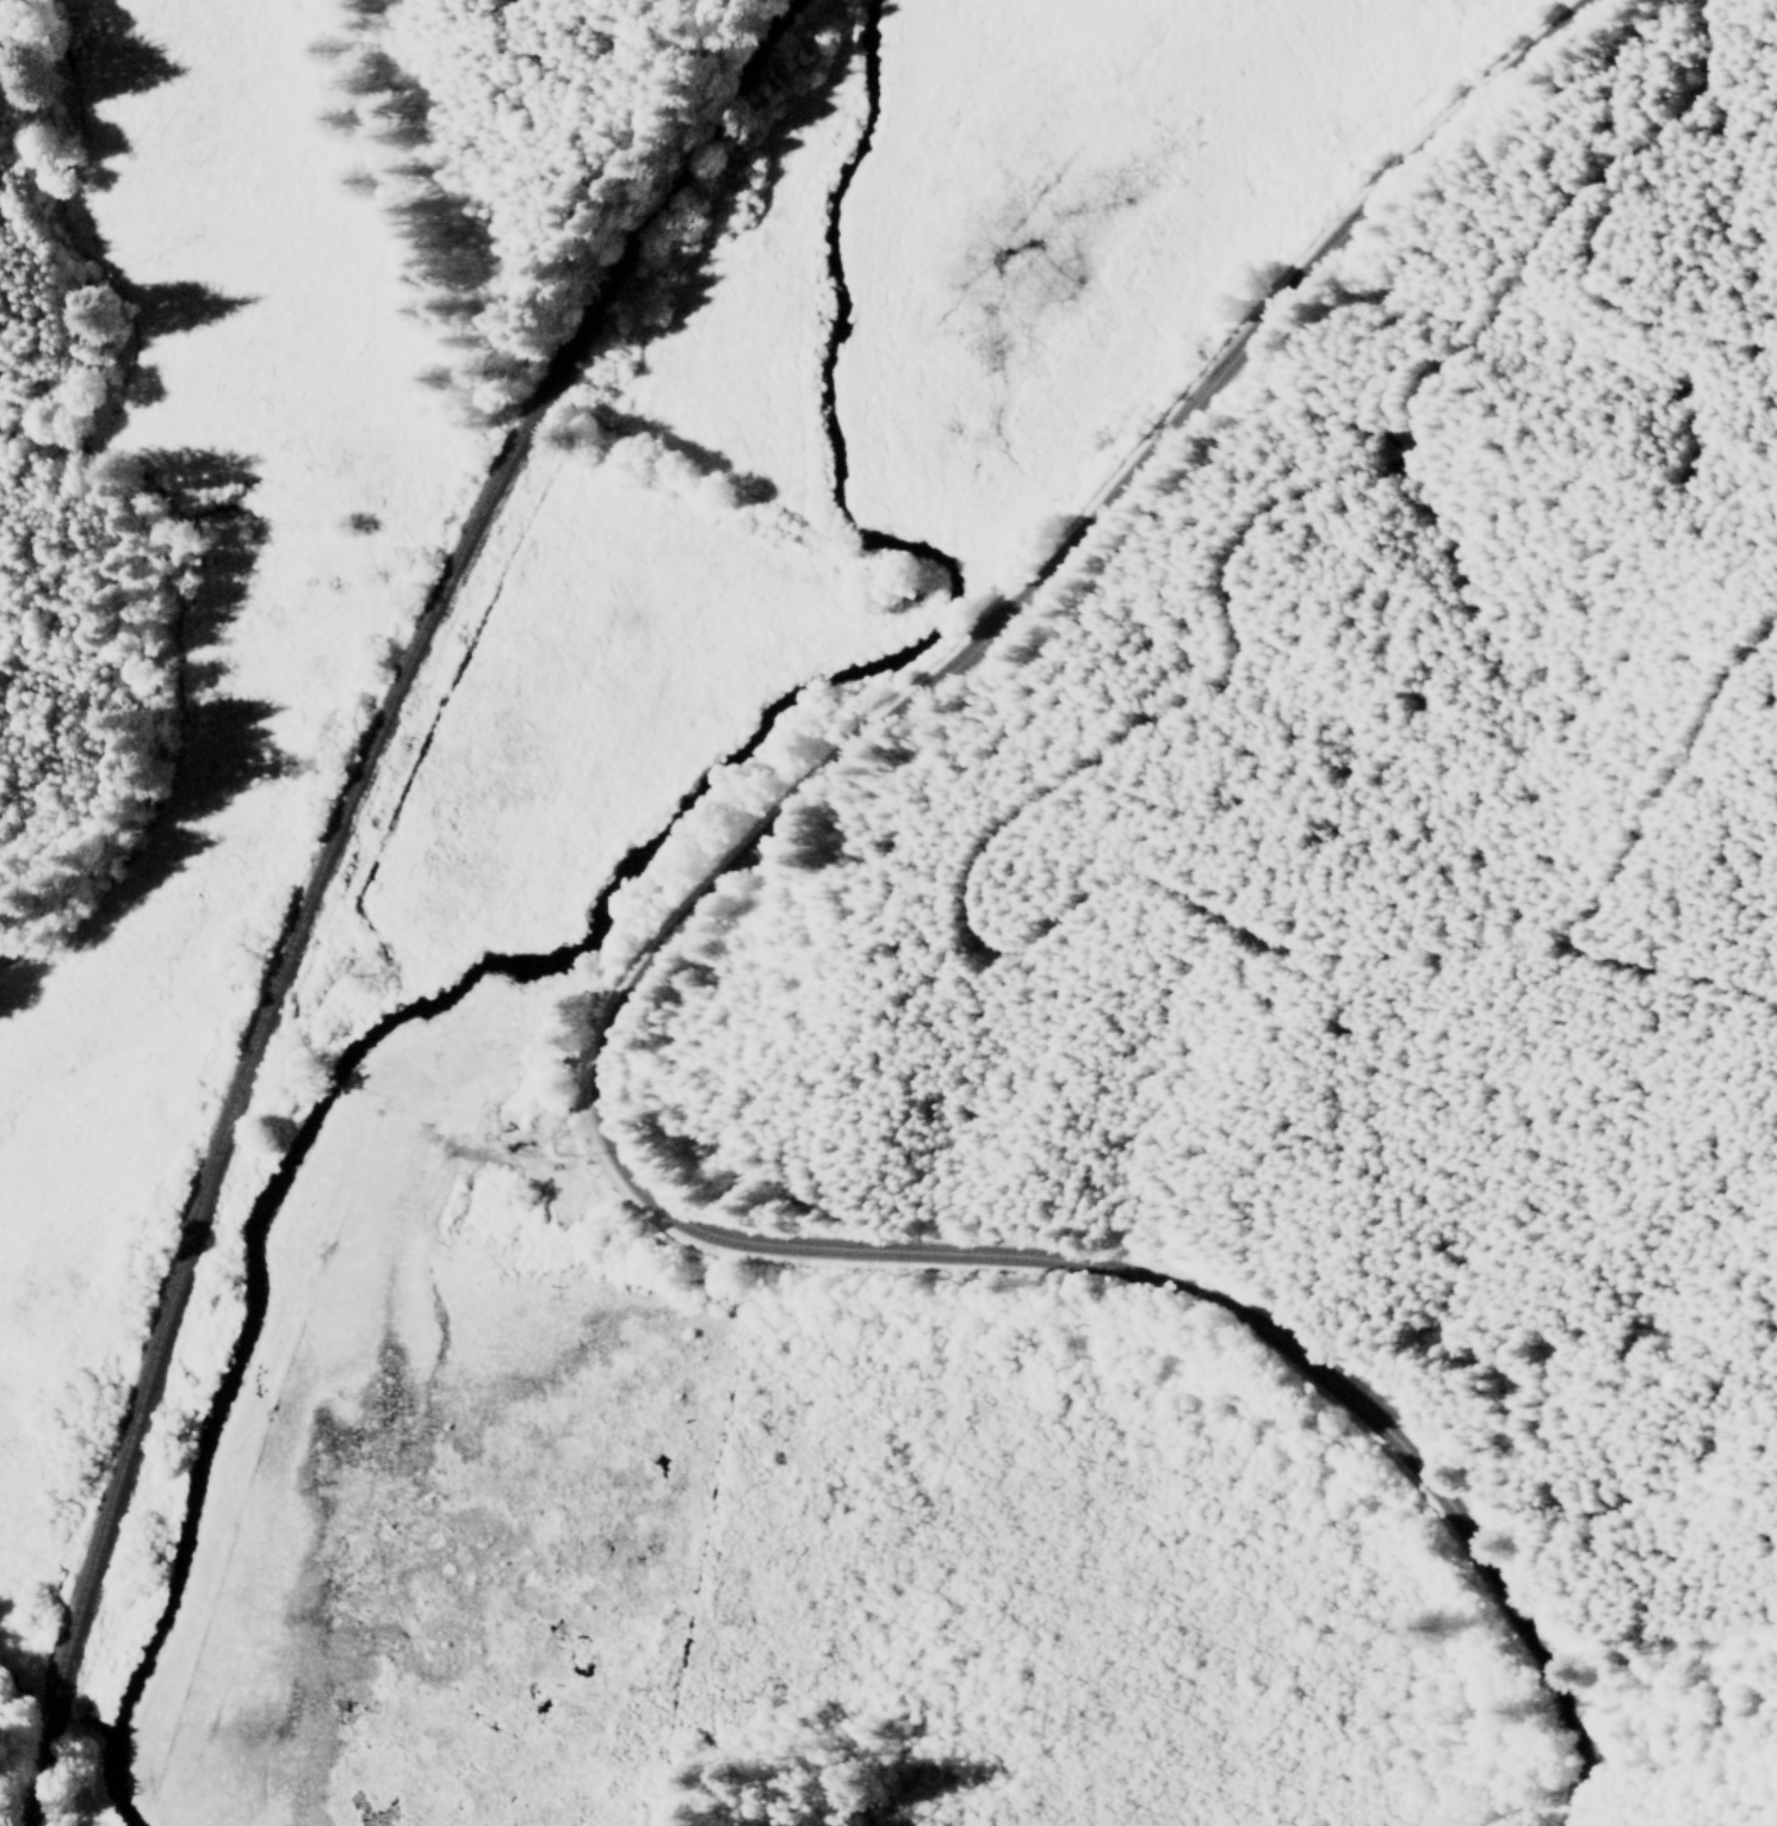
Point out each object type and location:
road: (528, 395)
railway: (314, 877)
road: (602, 1025)

